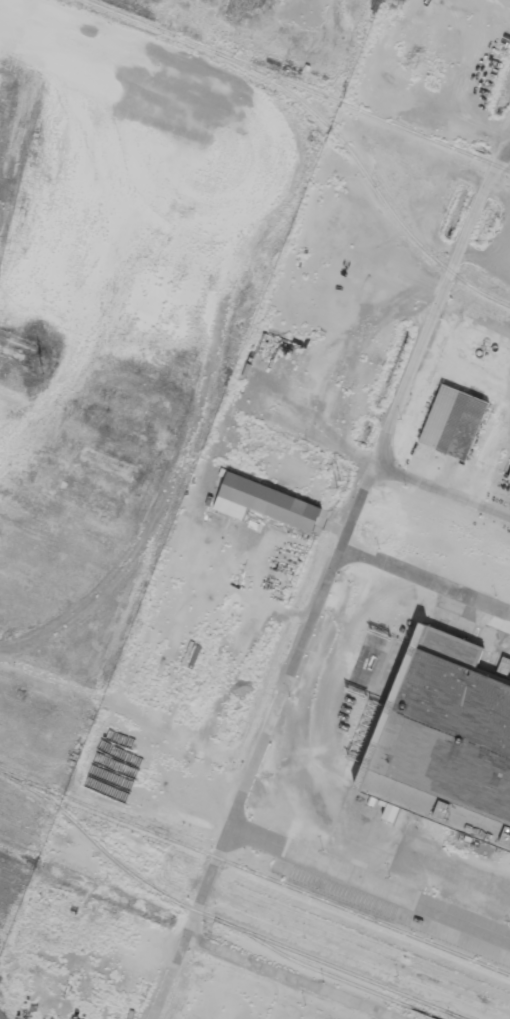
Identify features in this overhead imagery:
railway: (297, 86)
railway: (366, 175)
power tower: (44, 368)
building: (454, 421)
building: (509, 478)
power tower: (340, 485)
building: (265, 502)
building: (446, 742)
railway: (255, 871)
railway: (219, 918)
railway: (327, 972)
railway: (455, 1015)

